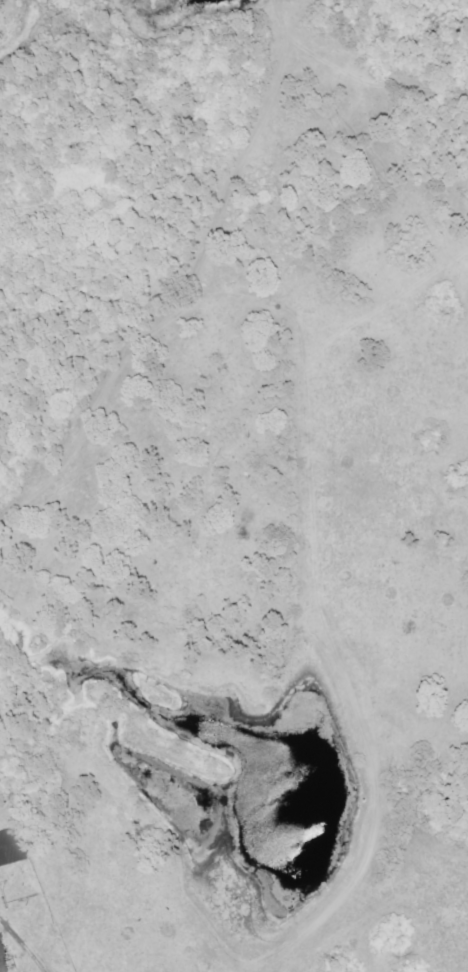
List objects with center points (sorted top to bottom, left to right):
road: (304, 467)
building: (250, 517)
building: (9, 848)
road: (9, 920)
road: (33, 953)
building: (4, 962)

